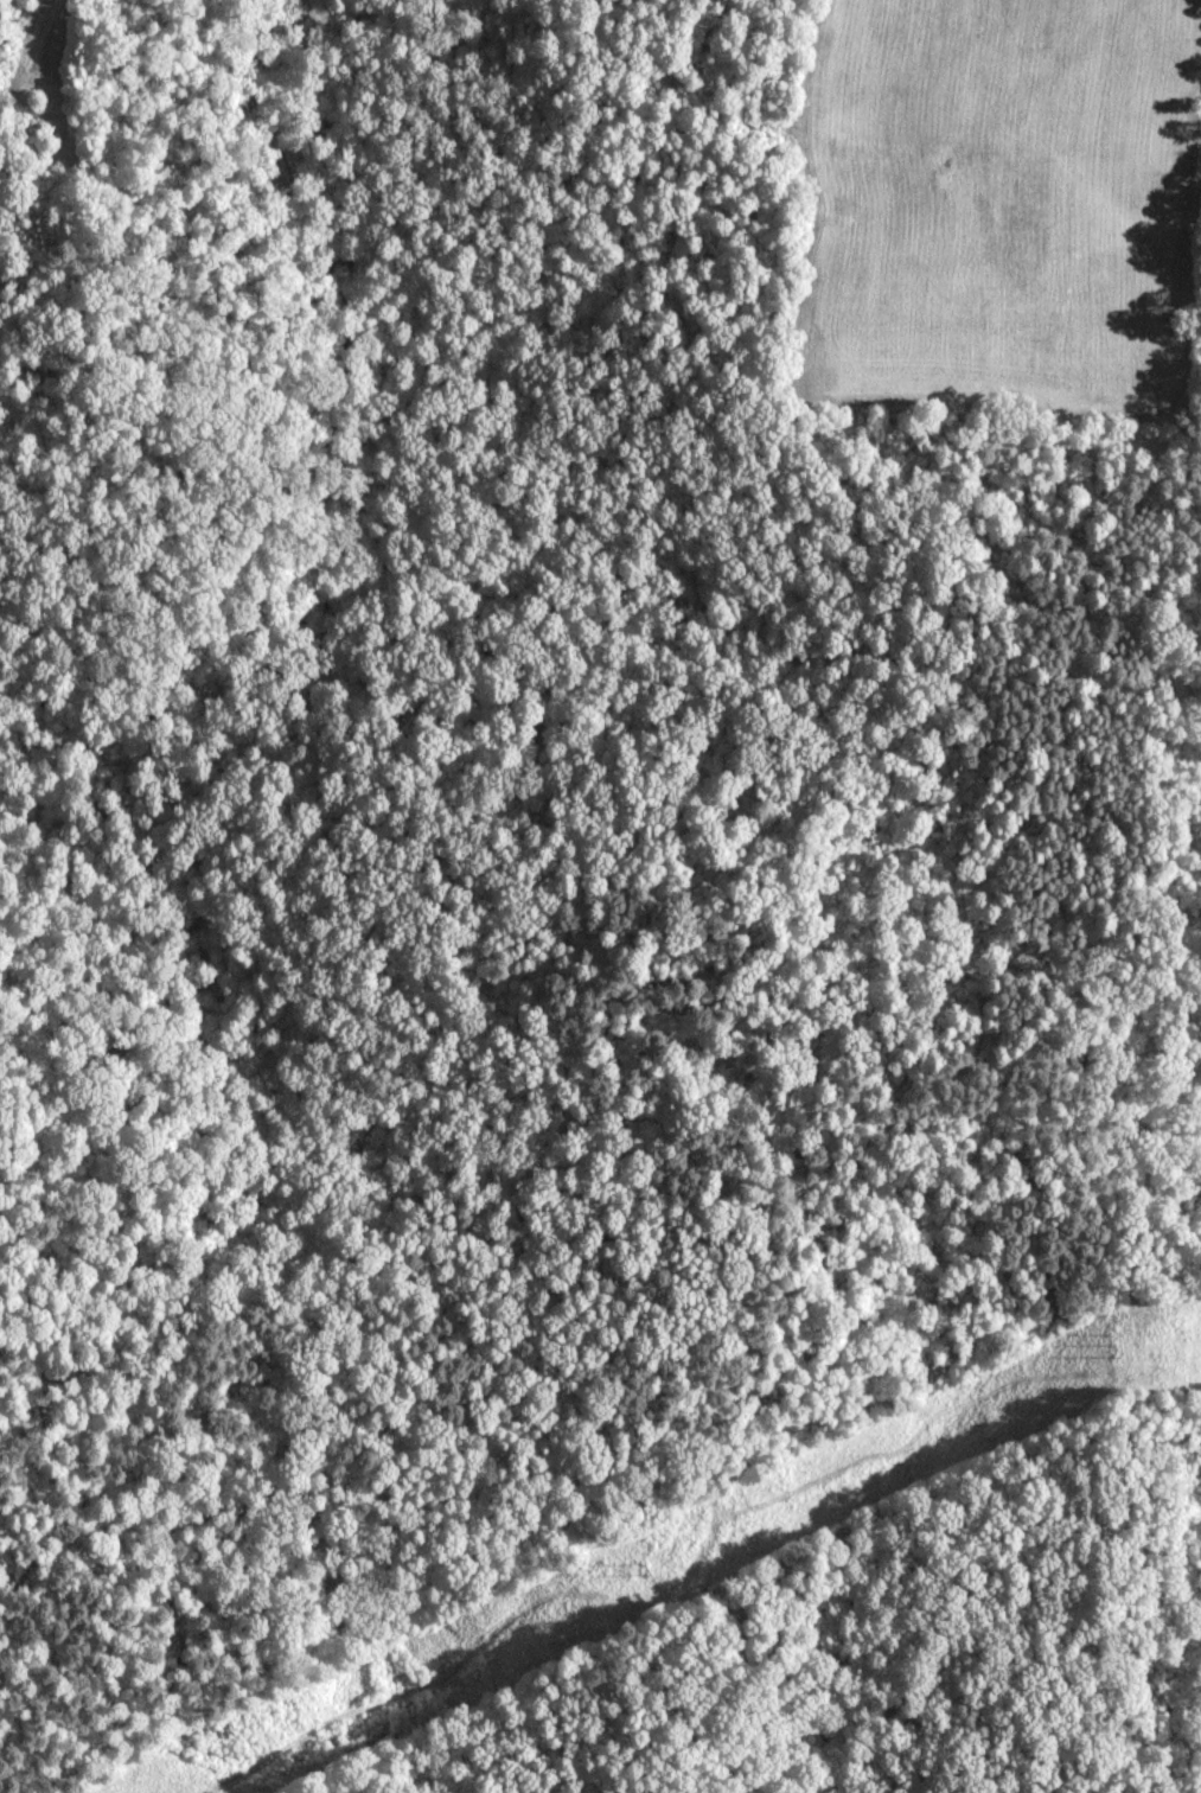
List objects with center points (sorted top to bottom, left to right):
power tower: (1119, 1345)
power tower: (651, 1568)

